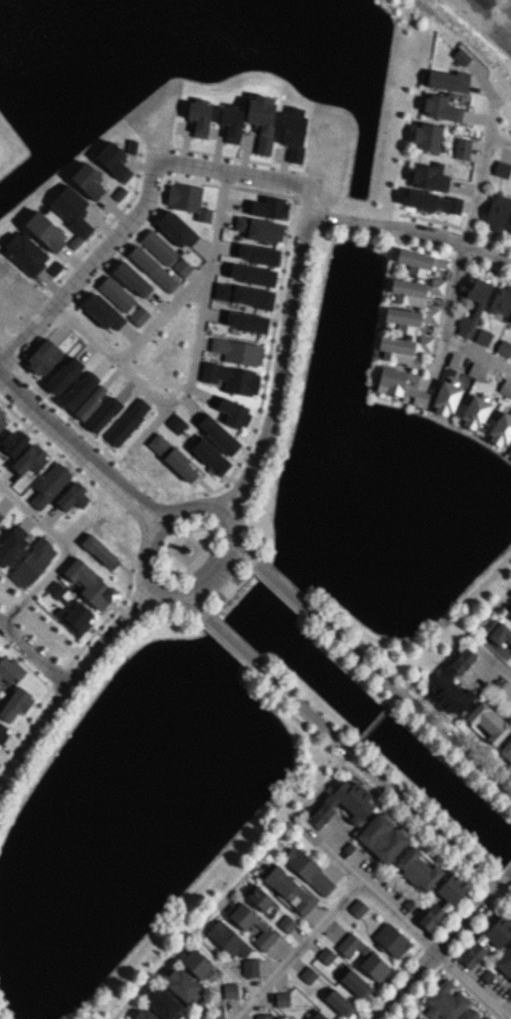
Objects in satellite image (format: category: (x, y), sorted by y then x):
building: (460, 55)
building: (446, 80)
building: (440, 108)
building: (198, 118)
building: (260, 119)
building: (230, 123)
building: (293, 136)
building: (425, 136)
road: (498, 140)
building: (131, 146)
building: (461, 147)
building: (113, 161)
building: (501, 168)
road: (230, 171)
road: (479, 175)
building: (426, 177)
building: (86, 180)
road: (307, 199)
building: (186, 200)
building: (432, 201)
building: (496, 211)
building: (71, 213)
building: (175, 228)
building: (259, 229)
building: (44, 231)
building: (157, 247)
building: (25, 252)
building: (256, 254)
road: (296, 261)
building: (417, 262)
road: (89, 266)
building: (54, 267)
building: (181, 267)
building: (151, 268)
building: (251, 274)
building: (131, 278)
building: (115, 293)
building: (242, 295)
building: (501, 299)
building: (411, 303)
road: (448, 304)
building: (477, 308)
building: (102, 311)
building: (138, 315)
road: (158, 318)
building: (510, 320)
building: (245, 321)
building: (482, 336)
building: (503, 347)
building: (402, 349)
building: (237, 351)
road: (476, 354)
building: (42, 356)
road: (192, 365)
building: (476, 371)
building: (63, 374)
building: (231, 378)
building: (399, 385)
building: (505, 388)
building: (77, 390)
building: (444, 399)
building: (89, 403)
building: (233, 412)
building: (473, 413)
building: (103, 414)
building: (2, 421)
building: (127, 421)
road: (152, 422)
building: (175, 423)
building: (499, 430)
building: (217, 434)
building: (13, 441)
road: (78, 448)
building: (508, 451)
building: (209, 456)
building: (172, 457)
building: (29, 459)
building: (48, 484)
building: (72, 496)
road: (29, 509)
building: (0, 518)
building: (11, 545)
building: (99, 551)
road: (244, 554)
building: (31, 562)
road: (216, 578)
road: (42, 581)
building: (89, 584)
road: (282, 589)
road: (193, 607)
building: (509, 612)
building: (75, 616)
building: (498, 634)
road: (232, 643)
road: (34, 653)
road: (498, 667)
building: (9, 669)
road: (69, 684)
building: (450, 685)
building: (15, 703)
road: (411, 704)
building: (486, 724)
building: (2, 730)
building: (506, 751)
road: (385, 786)
building: (340, 801)
building: (380, 836)
building: (417, 866)
building: (306, 869)
road: (501, 876)
road: (362, 883)
road: (232, 886)
building: (287, 887)
building: (259, 898)
building: (441, 899)
building: (357, 908)
road: (463, 917)
building: (286, 923)
building: (260, 926)
building: (227, 939)
building: (390, 939)
building: (496, 941)
road: (296, 950)
building: (325, 955)
building: (369, 957)
building: (504, 960)
building: (195, 962)
building: (249, 967)
building: (307, 974)
building: (355, 983)
building: (181, 984)
road: (402, 984)
road: (470, 984)
building: (229, 990)
building: (281, 999)
building: (443, 1001)
building: (163, 1003)
building: (338, 1003)
building: (143, 1014)
building: (469, 1014)
building: (262, 1016)
building: (316, 1016)
building: (405, 1017)
building: (485, 1017)
building: (419, 1018)

